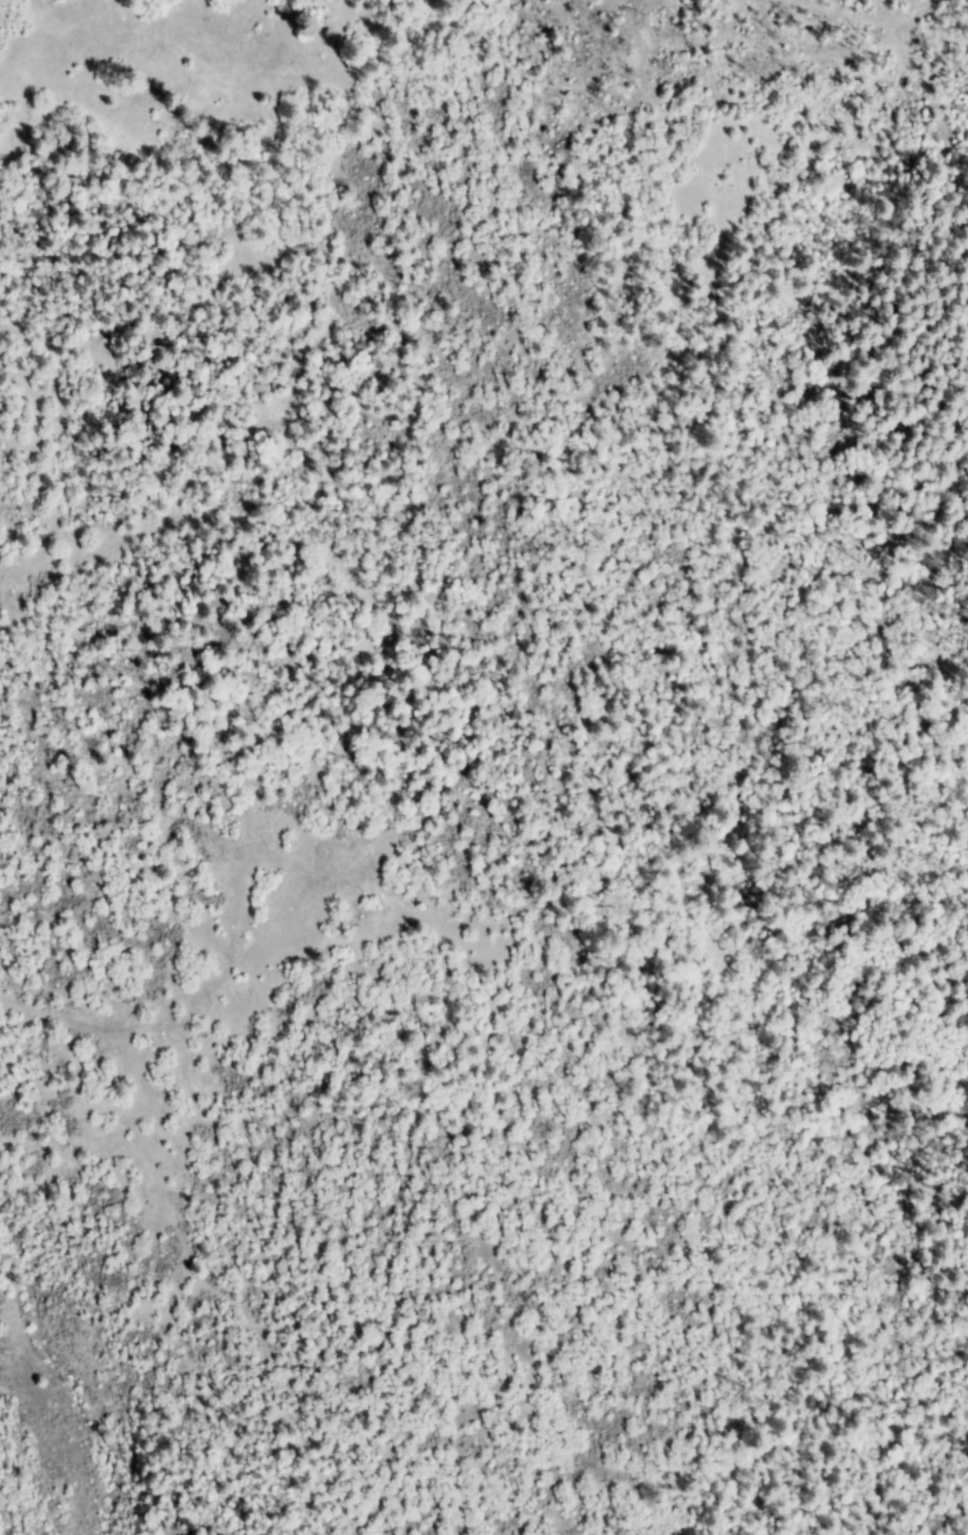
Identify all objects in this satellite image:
road: (409, 202)

